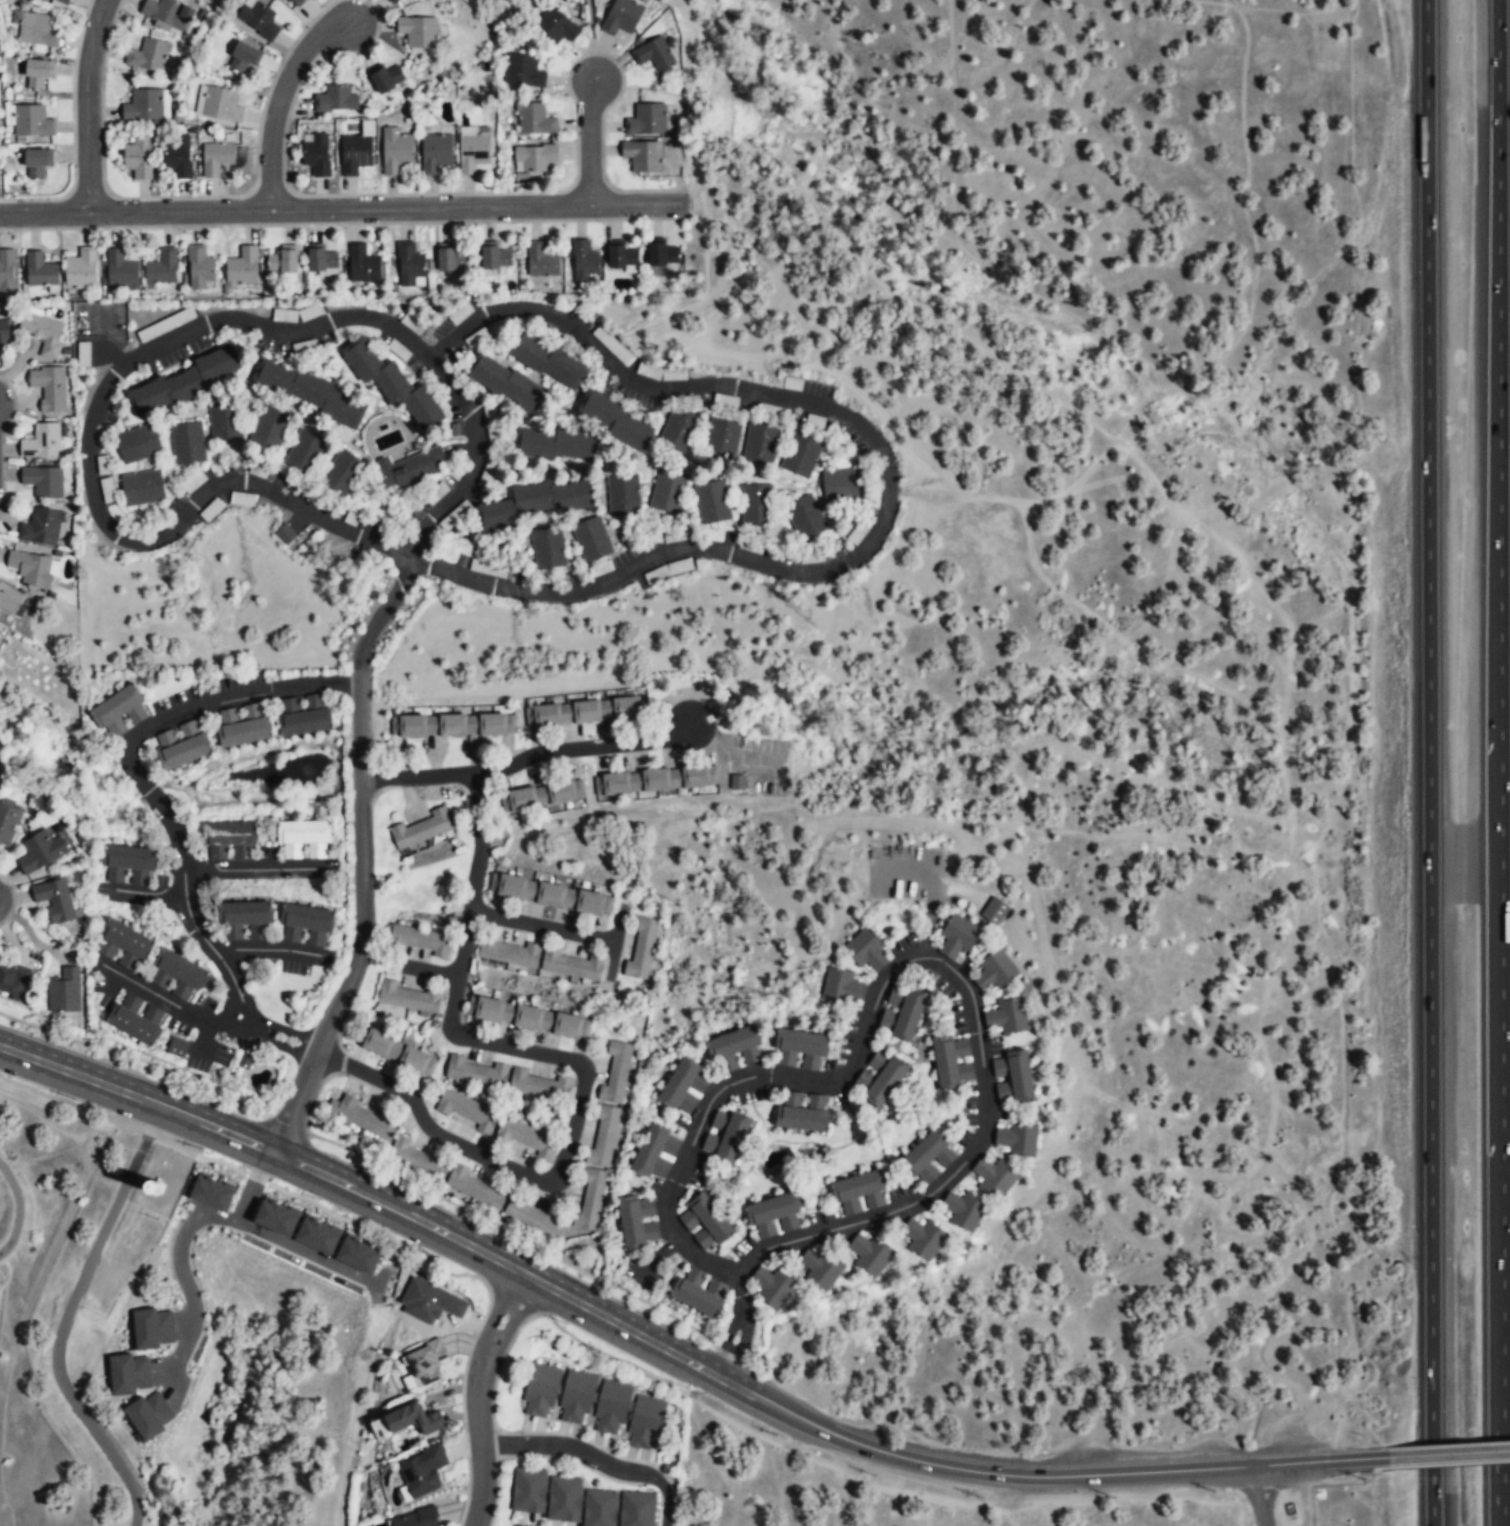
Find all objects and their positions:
building: (61, 1)
building: (394, 2)
road: (1212, 2)
road: (1236, 2)
building: (294, 3)
park: (500, 12)
building: (167, 13)
building: (621, 17)
building: (258, 20)
road: (590, 25)
building: (555, 27)
building: (36, 29)
building: (417, 32)
building: (653, 54)
building: (148, 57)
building: (242, 59)
building: (525, 72)
building: (37, 75)
building: (387, 79)
building: (335, 100)
road: (87, 104)
building: (219, 105)
building: (143, 107)
road: (286, 107)
building: (533, 120)
building: (646, 120)
building: (31, 122)
road: (1242, 134)
road: (599, 146)
building: (473, 149)
building: (395, 151)
building: (354, 154)
building: (435, 154)
building: (316, 155)
building: (177, 156)
building: (642, 156)
building: (136, 158)
building: (533, 158)
building: (215, 159)
building: (37, 163)
road: (340, 215)
building: (663, 255)
building: (620, 256)
building: (496, 259)
building: (451, 260)
building: (321, 261)
building: (282, 262)
building: (540, 262)
building: (584, 264)
building: (363, 266)
building: (409, 266)
building: (162, 267)
building: (198, 268)
building: (241, 268)
building: (80, 269)
building: (39, 270)
building: (120, 270)
building: (6, 272)
building: (4, 333)
building: (43, 334)
road: (1498, 353)
building: (548, 363)
road: (1201, 370)
building: (184, 383)
building: (505, 384)
building: (393, 385)
building: (48, 389)
building: (309, 394)
building: (226, 422)
building: (615, 422)
building: (270, 429)
building: (680, 431)
road: (477, 437)
building: (722, 441)
building: (42, 443)
building: (137, 445)
building: (187, 445)
building: (555, 445)
building: (760, 445)
road: (86, 451)
building: (305, 453)
building: (802, 455)
road: (886, 462)
building: (411, 469)
building: (344, 474)
building: (43, 482)
building: (844, 487)
building: (141, 489)
building: (668, 492)
building: (623, 495)
building: (537, 503)
building: (713, 503)
building: (756, 506)
building: (806, 518)
building: (41, 528)
building: (285, 534)
building: (591, 539)
building: (548, 549)
road: (415, 552)
road: (432, 563)
building: (30, 569)
building: (11, 602)
road: (313, 683)
road: (207, 700)
building: (117, 710)
building: (581, 713)
building: (302, 716)
road: (1433, 722)
building: (243, 725)
building: (451, 725)
road: (718, 737)
building: (182, 746)
road: (526, 756)
road: (764, 761)
building: (654, 781)
building: (736, 782)
building: (561, 793)
road: (360, 816)
building: (8, 822)
building: (422, 829)
building: (303, 840)
building: (229, 841)
building: (413, 848)
building: (41, 852)
building: (129, 866)
road: (182, 868)
road: (286, 868)
road: (217, 870)
road: (149, 895)
building: (551, 896)
building: (54, 901)
building: (994, 912)
building: (245, 922)
building: (306, 926)
road: (543, 926)
building: (956, 937)
building: (423, 942)
road: (615, 942)
building: (125, 946)
road: (249, 948)
building: (642, 949)
road: (299, 951)
building: (866, 951)
road: (1286, 951)
road: (915, 958)
building: (541, 960)
building: (995, 971)
building: (179, 975)
building: (13, 980)
road: (114, 980)
road: (133, 981)
building: (842, 988)
building: (64, 992)
building: (404, 998)
road: (190, 1012)
building: (901, 1013)
building: (1007, 1016)
building: (136, 1018)
building: (528, 1018)
road: (227, 1022)
road: (282, 1035)
road: (203, 1036)
building: (733, 1043)
building: (176, 1047)
building: (800, 1049)
building: (396, 1051)
building: (751, 1058)
building: (952, 1061)
building: (243, 1062)
road: (580, 1064)
building: (476, 1072)
building: (616, 1072)
road: (1500, 1074)
building: (1013, 1077)
building: (879, 1078)
building: (540, 1085)
building: (684, 1088)
road: (296, 1101)
road: (74, 1104)
building: (466, 1109)
building: (803, 1112)
building: (361, 1116)
building: (603, 1135)
building: (527, 1136)
building: (725, 1137)
building: (1018, 1139)
street lamp: (203, 1149)
building: (656, 1153)
building: (928, 1157)
building: (416, 1159)
building: (993, 1177)
water tower: (153, 1187)
building: (475, 1188)
building: (858, 1192)
building: (208, 1195)
building: (590, 1198)
street lamp: (320, 1199)
road: (18, 1209)
building: (964, 1211)
building: (773, 1215)
building: (272, 1217)
building: (532, 1219)
building: (706, 1220)
building: (637, 1223)
building: (313, 1235)
building: (922, 1240)
road: (664, 1250)
street lamp: (419, 1254)
building: (871, 1254)
building: (354, 1255)
building: (820, 1267)
road: (642, 1271)
building: (772, 1286)
building: (699, 1292)
park: (37, 1298)
street lamp: (486, 1303)
road: (495, 1304)
road: (583, 1306)
road: (514, 1312)
road: (67, 1317)
road: (740, 1326)
building: (151, 1329)
building: (421, 1365)
building: (127, 1374)
building: (540, 1390)
building: (575, 1398)
building: (610, 1407)
building: (147, 1415)
building: (416, 1421)
building: (644, 1424)
road: (479, 1432)
street lamp: (777, 1434)
road: (1445, 1453)
road: (594, 1456)
road: (1362, 1458)
road: (1441, 1463)
road: (1264, 1464)
building: (419, 1474)
street lamp: (1215, 1491)
road: (1499, 1494)
building: (545, 1495)
road: (1262, 1495)
street lamp: (980, 1496)
road: (1433, 1496)
building: (599, 1507)
building: (637, 1509)
street lamp: (1293, 1511)
building: (413, 1519)

